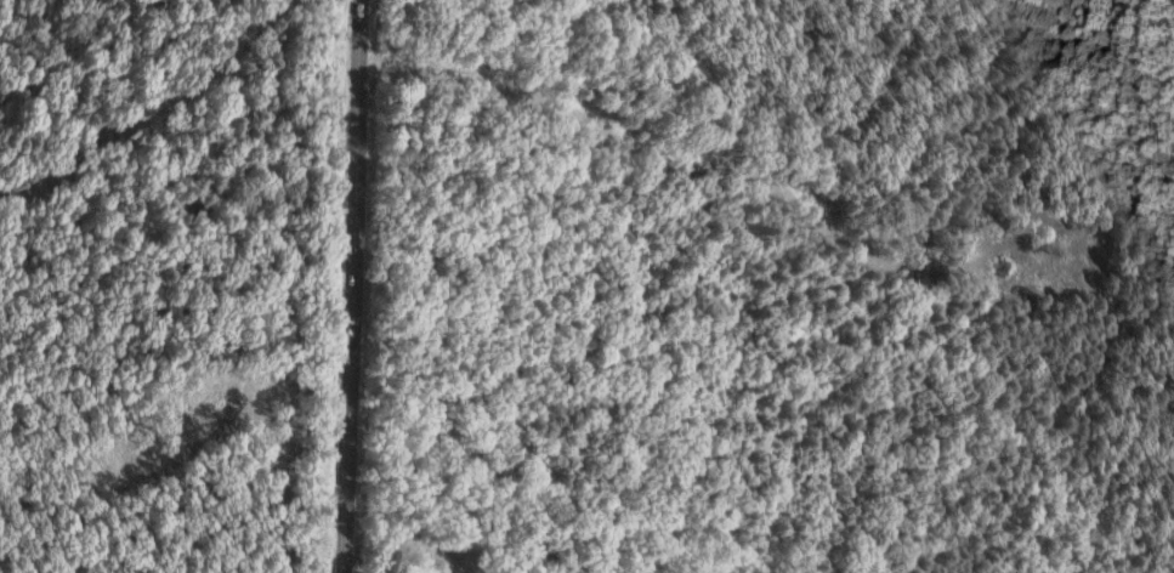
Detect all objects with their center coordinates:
road: (346, 285)

